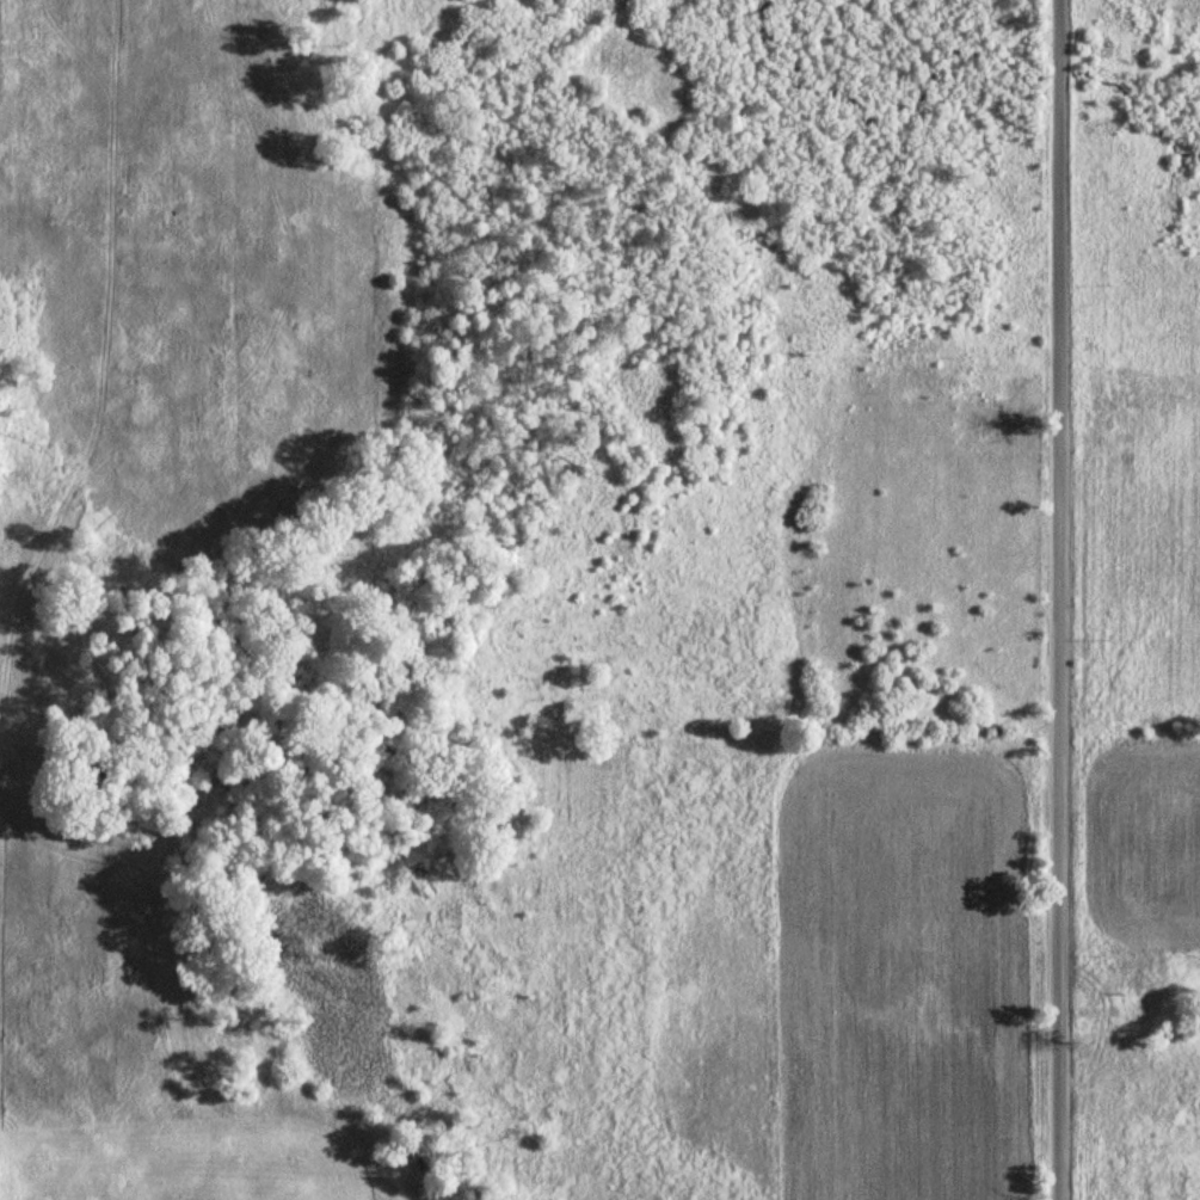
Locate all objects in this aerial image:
road: (1084, 599)

